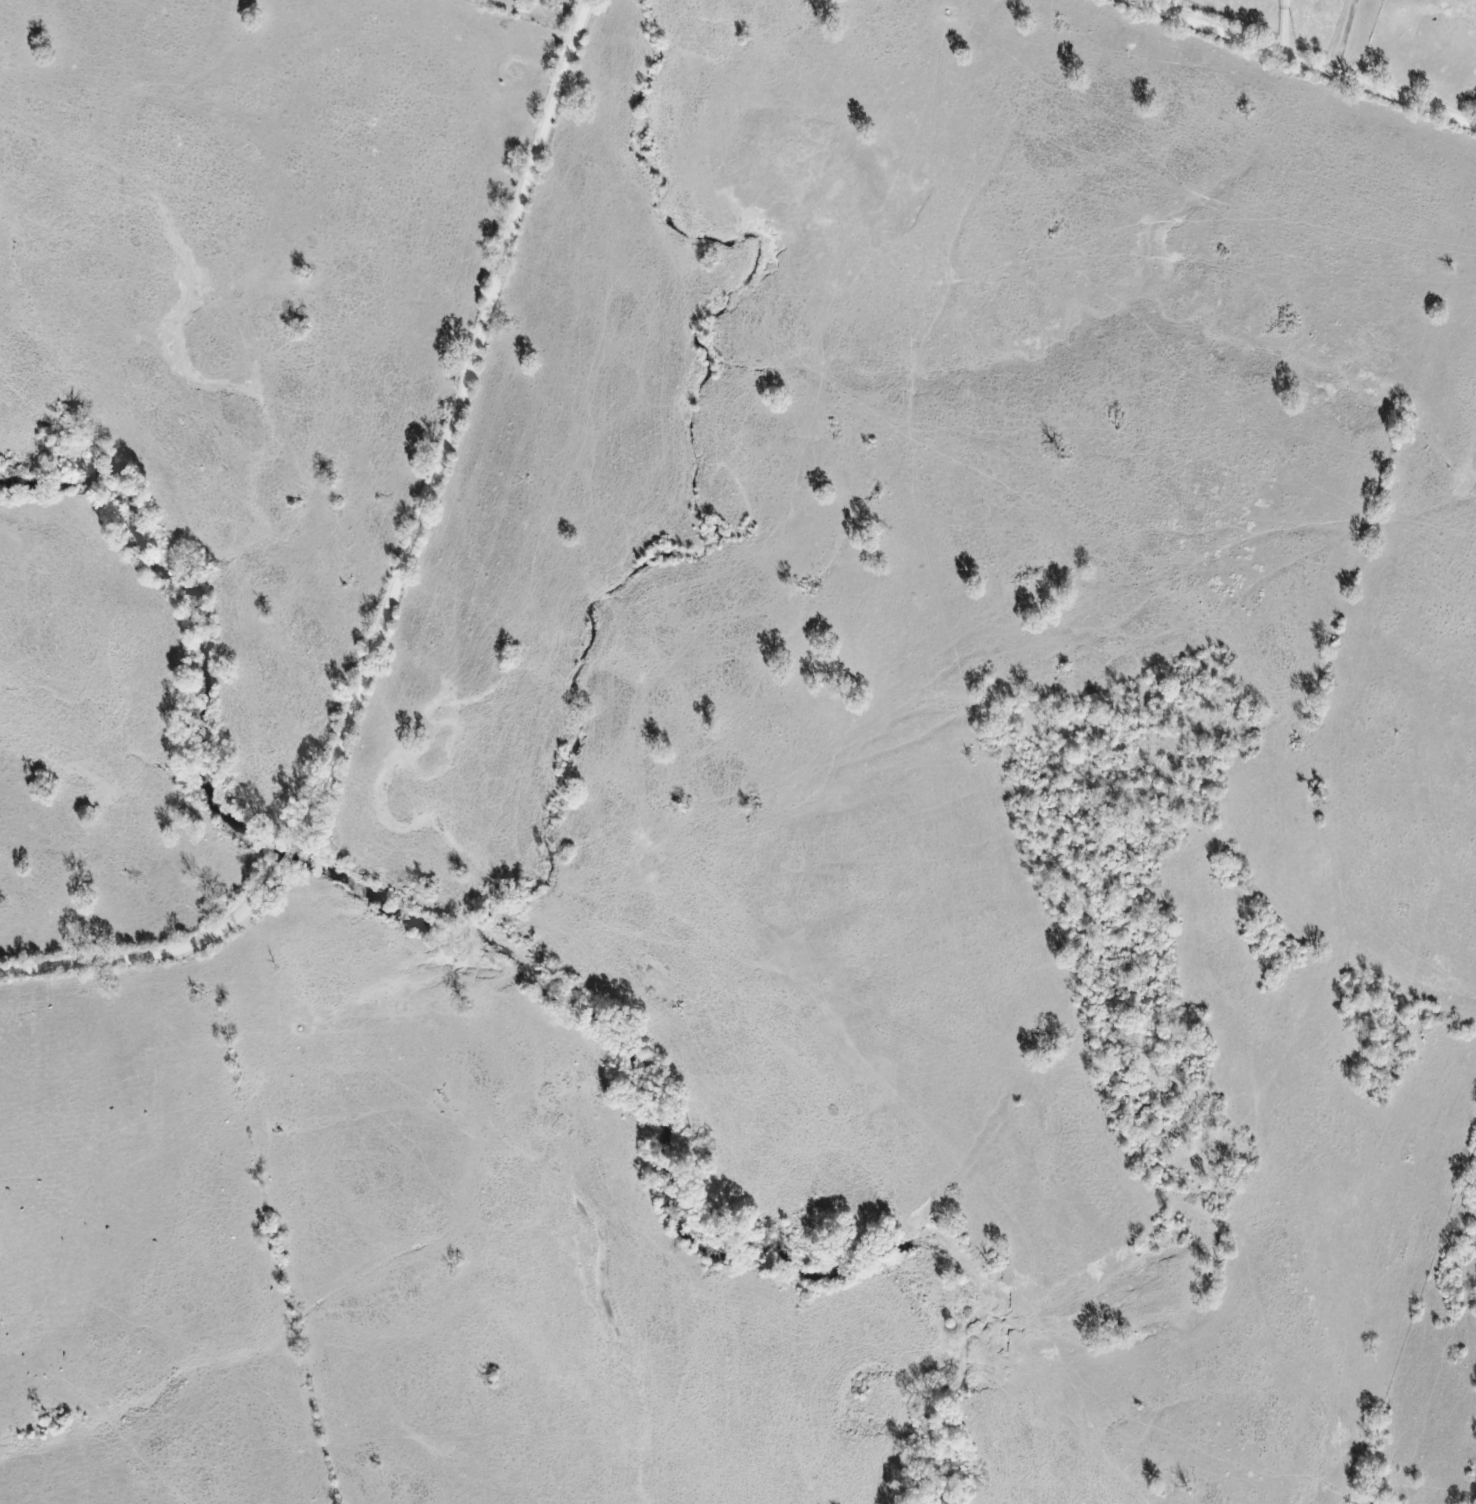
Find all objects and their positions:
road: (1303, 62)
road: (394, 585)

